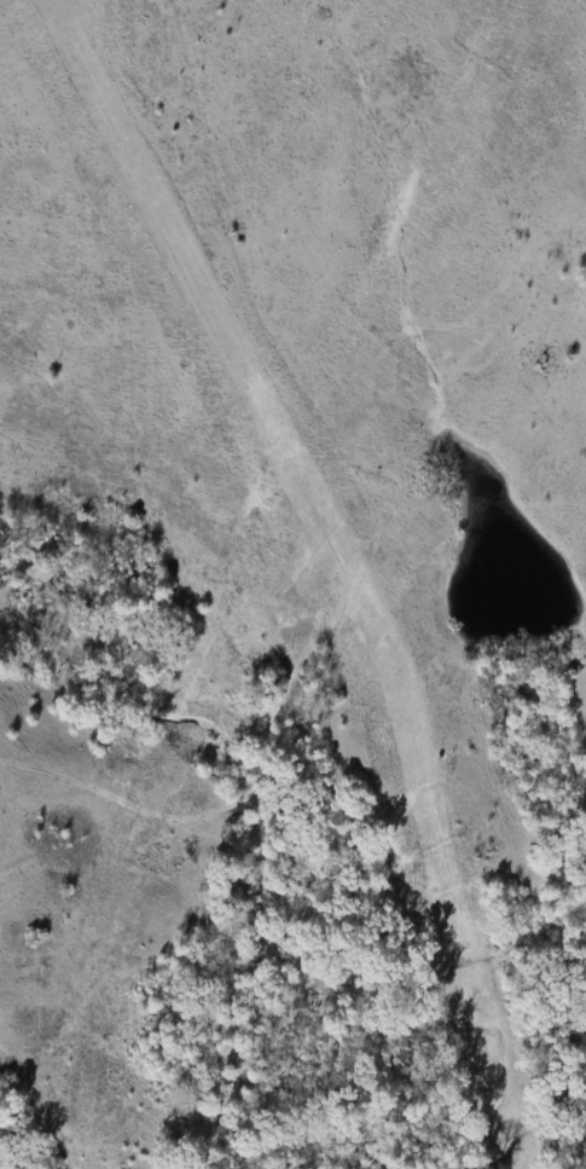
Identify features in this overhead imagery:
road: (327, 572)

